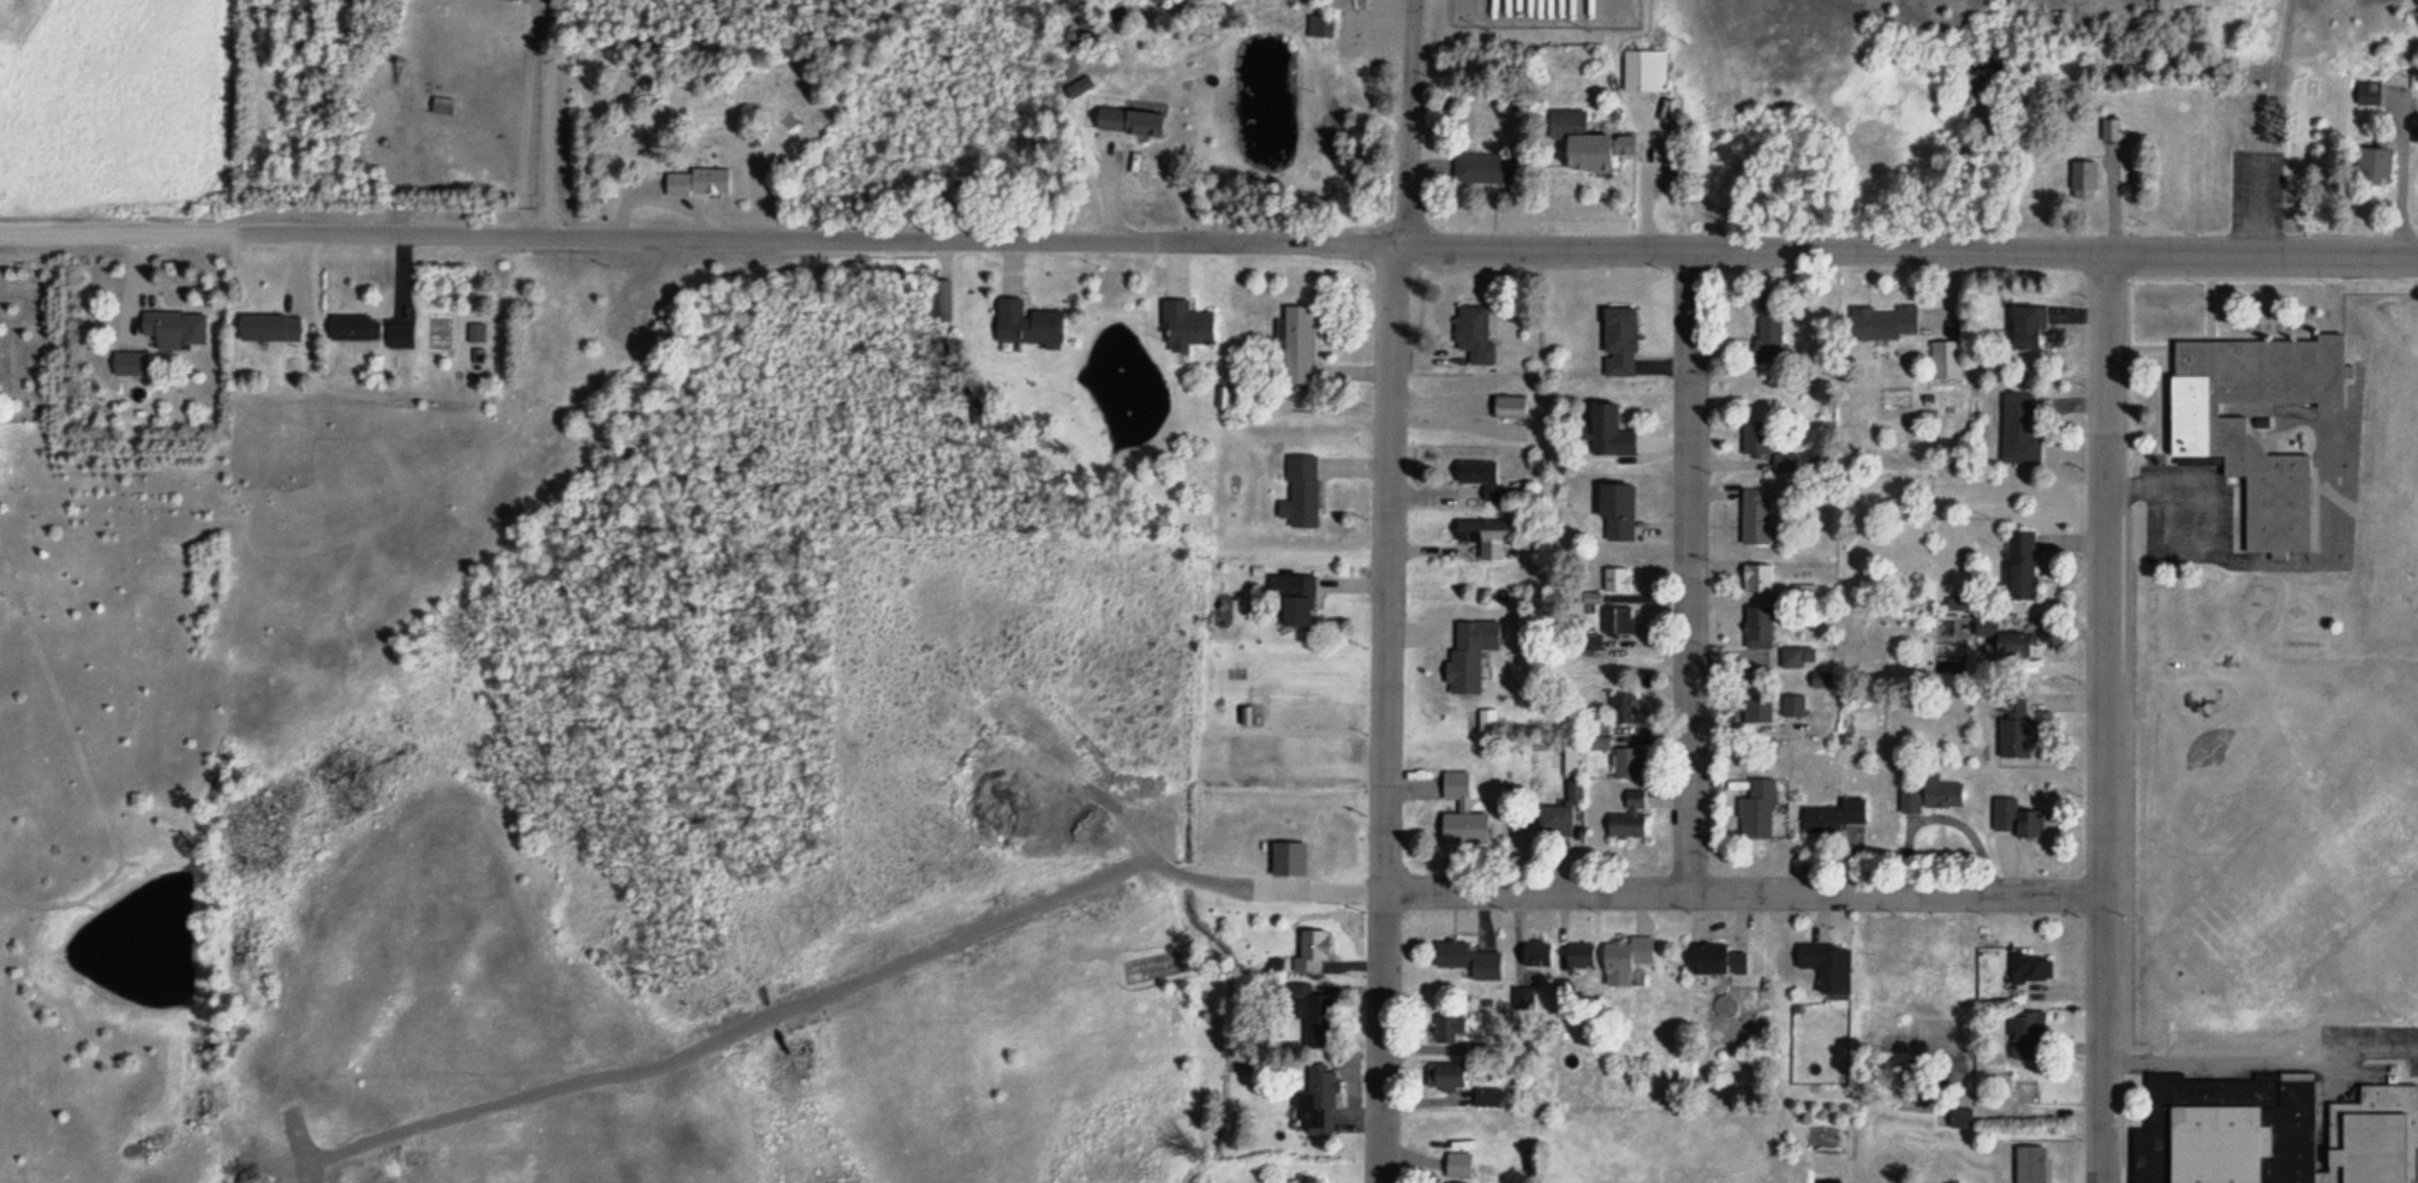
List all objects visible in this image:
building: (1320, 26)
building: (1644, 72)
building: (2368, 92)
building: (442, 107)
building: (1126, 121)
road: (1411, 125)
building: (2112, 131)
building: (1583, 143)
building: (2371, 166)
building: (1480, 168)
road: (1646, 175)
building: (2084, 178)
building: (695, 183)
road: (2404, 185)
road: (1115, 190)
road: (662, 201)
road: (2114, 203)
road: (1553, 217)
road: (1208, 246)
road: (1956, 292)
building: (943, 301)
building: (1023, 324)
building: (1883, 324)
building: (1183, 325)
building: (269, 329)
building: (353, 329)
building: (2026, 329)
building: (174, 330)
building: (1768, 331)
building: (1473, 336)
building: (1618, 342)
building: (1296, 345)
building: (127, 365)
building: (2252, 424)
building: (2020, 430)
building: (1606, 432)
building: (1756, 440)
building: (1479, 478)
building: (1300, 494)
building: (1616, 512)
building: (1755, 518)
building: (1483, 538)
building: (2020, 567)
road: (1692, 573)
building: (1757, 580)
building: (1618, 581)
building: (1295, 604)
building: (1617, 621)
building: (1757, 631)
building: (2004, 644)
building: (1468, 655)
building: (1792, 659)
building: (1793, 707)
building: (1757, 711)
building: (1617, 715)
road: (1391, 716)
road: (2107, 718)
building: (2013, 727)
building: (1626, 765)
building: (1933, 797)
building: (1461, 813)
building: (1756, 813)
building: (1834, 818)
building: (1629, 819)
building: (1553, 824)
building: (2019, 824)
building: (1286, 860)
road: (1748, 896)
building: (1311, 951)
building: (1535, 955)
building: (1577, 957)
building: (1624, 960)
building: (1713, 960)
building: (1467, 961)
building: (1825, 967)
building: (2030, 969)
building: (1309, 1011)
building: (1449, 1029)
building: (2026, 1035)
building: (1445, 1076)
building: (2022, 1091)
building: (1317, 1101)
building: (2274, 1133)
building: (2029, 1165)
building: (1304, 1179)

